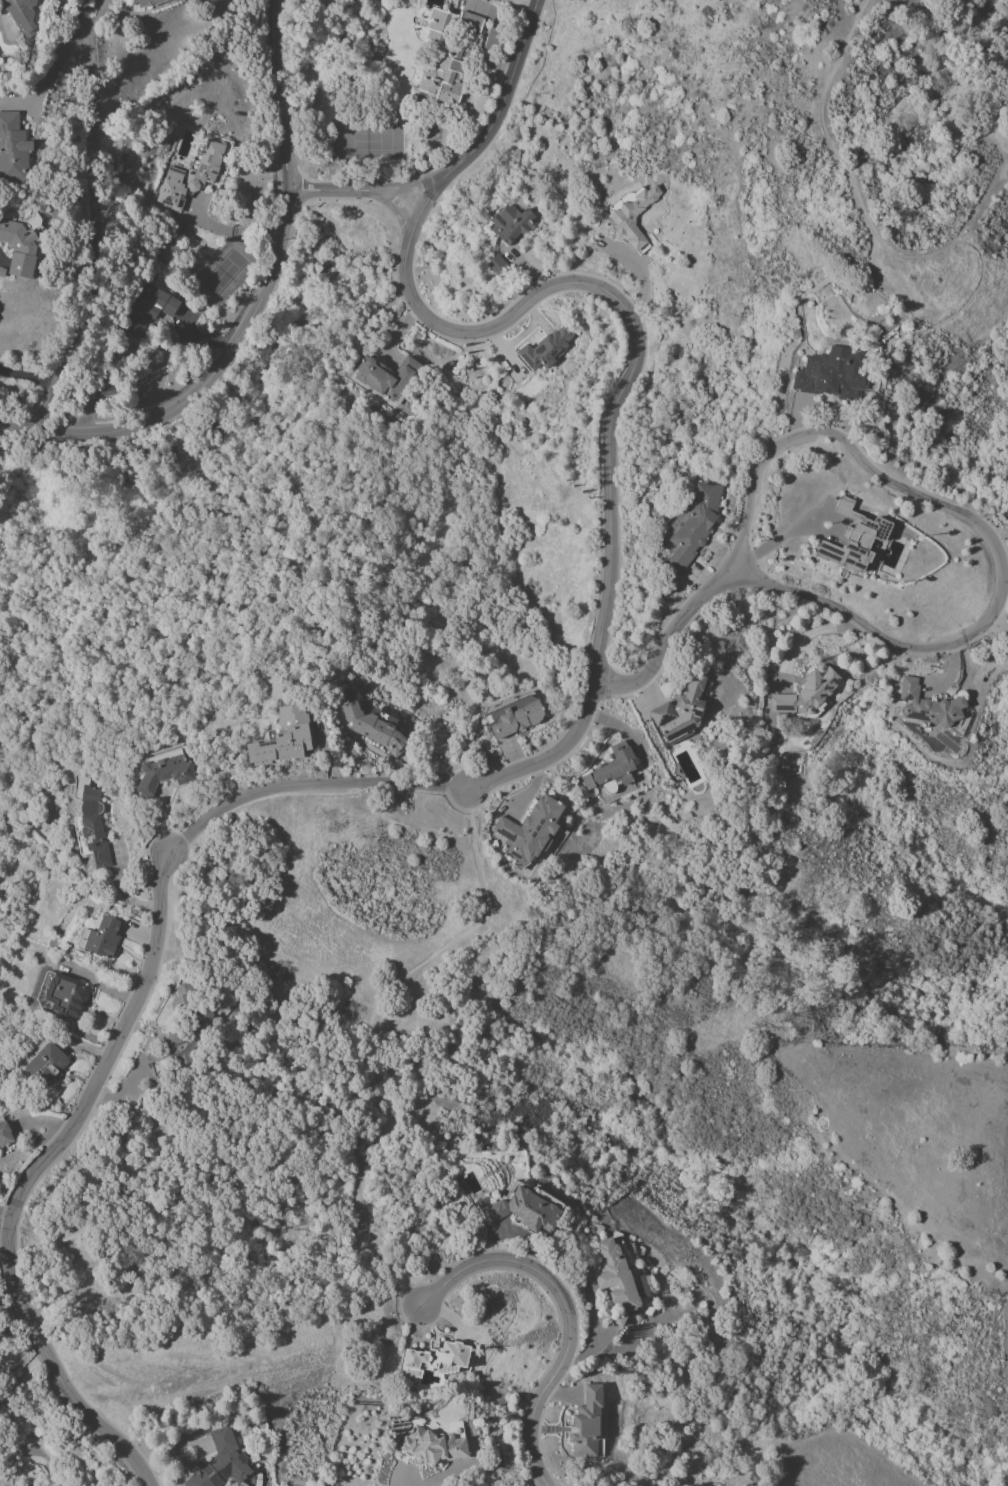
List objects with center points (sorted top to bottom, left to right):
building: (145, 2)
building: (24, 16)
road: (91, 19)
building: (446, 56)
road: (498, 106)
building: (12, 149)
building: (189, 177)
road: (356, 188)
road: (422, 204)
building: (632, 217)
building: (511, 222)
road: (231, 232)
road: (105, 239)
building: (19, 247)
road: (926, 255)
building: (495, 265)
road: (256, 306)
building: (147, 310)
road: (628, 311)
building: (543, 349)
building: (829, 375)
road: (33, 378)
building: (384, 378)
road: (222, 476)
building: (690, 527)
road: (995, 532)
road: (782, 535)
building: (853, 539)
park: (2, 542)
road: (1001, 569)
road: (1004, 575)
road: (1000, 624)
road: (669, 634)
building: (806, 692)
building: (925, 706)
building: (680, 711)
building: (513, 717)
building: (283, 738)
road: (552, 755)
building: (163, 771)
building: (610, 774)
road: (307, 786)
building: (93, 827)
building: (529, 829)
road: (120, 888)
building: (99, 938)
building: (66, 997)
building: (168, 1054)
building: (45, 1064)
building: (5, 1135)
road: (30, 1176)
road: (349, 1208)
building: (523, 1210)
road: (5, 1213)
road: (377, 1255)
building: (614, 1278)
road: (566, 1315)
building: (434, 1360)
building: (587, 1424)
building: (433, 1446)
building: (221, 1461)
road: (398, 1482)

